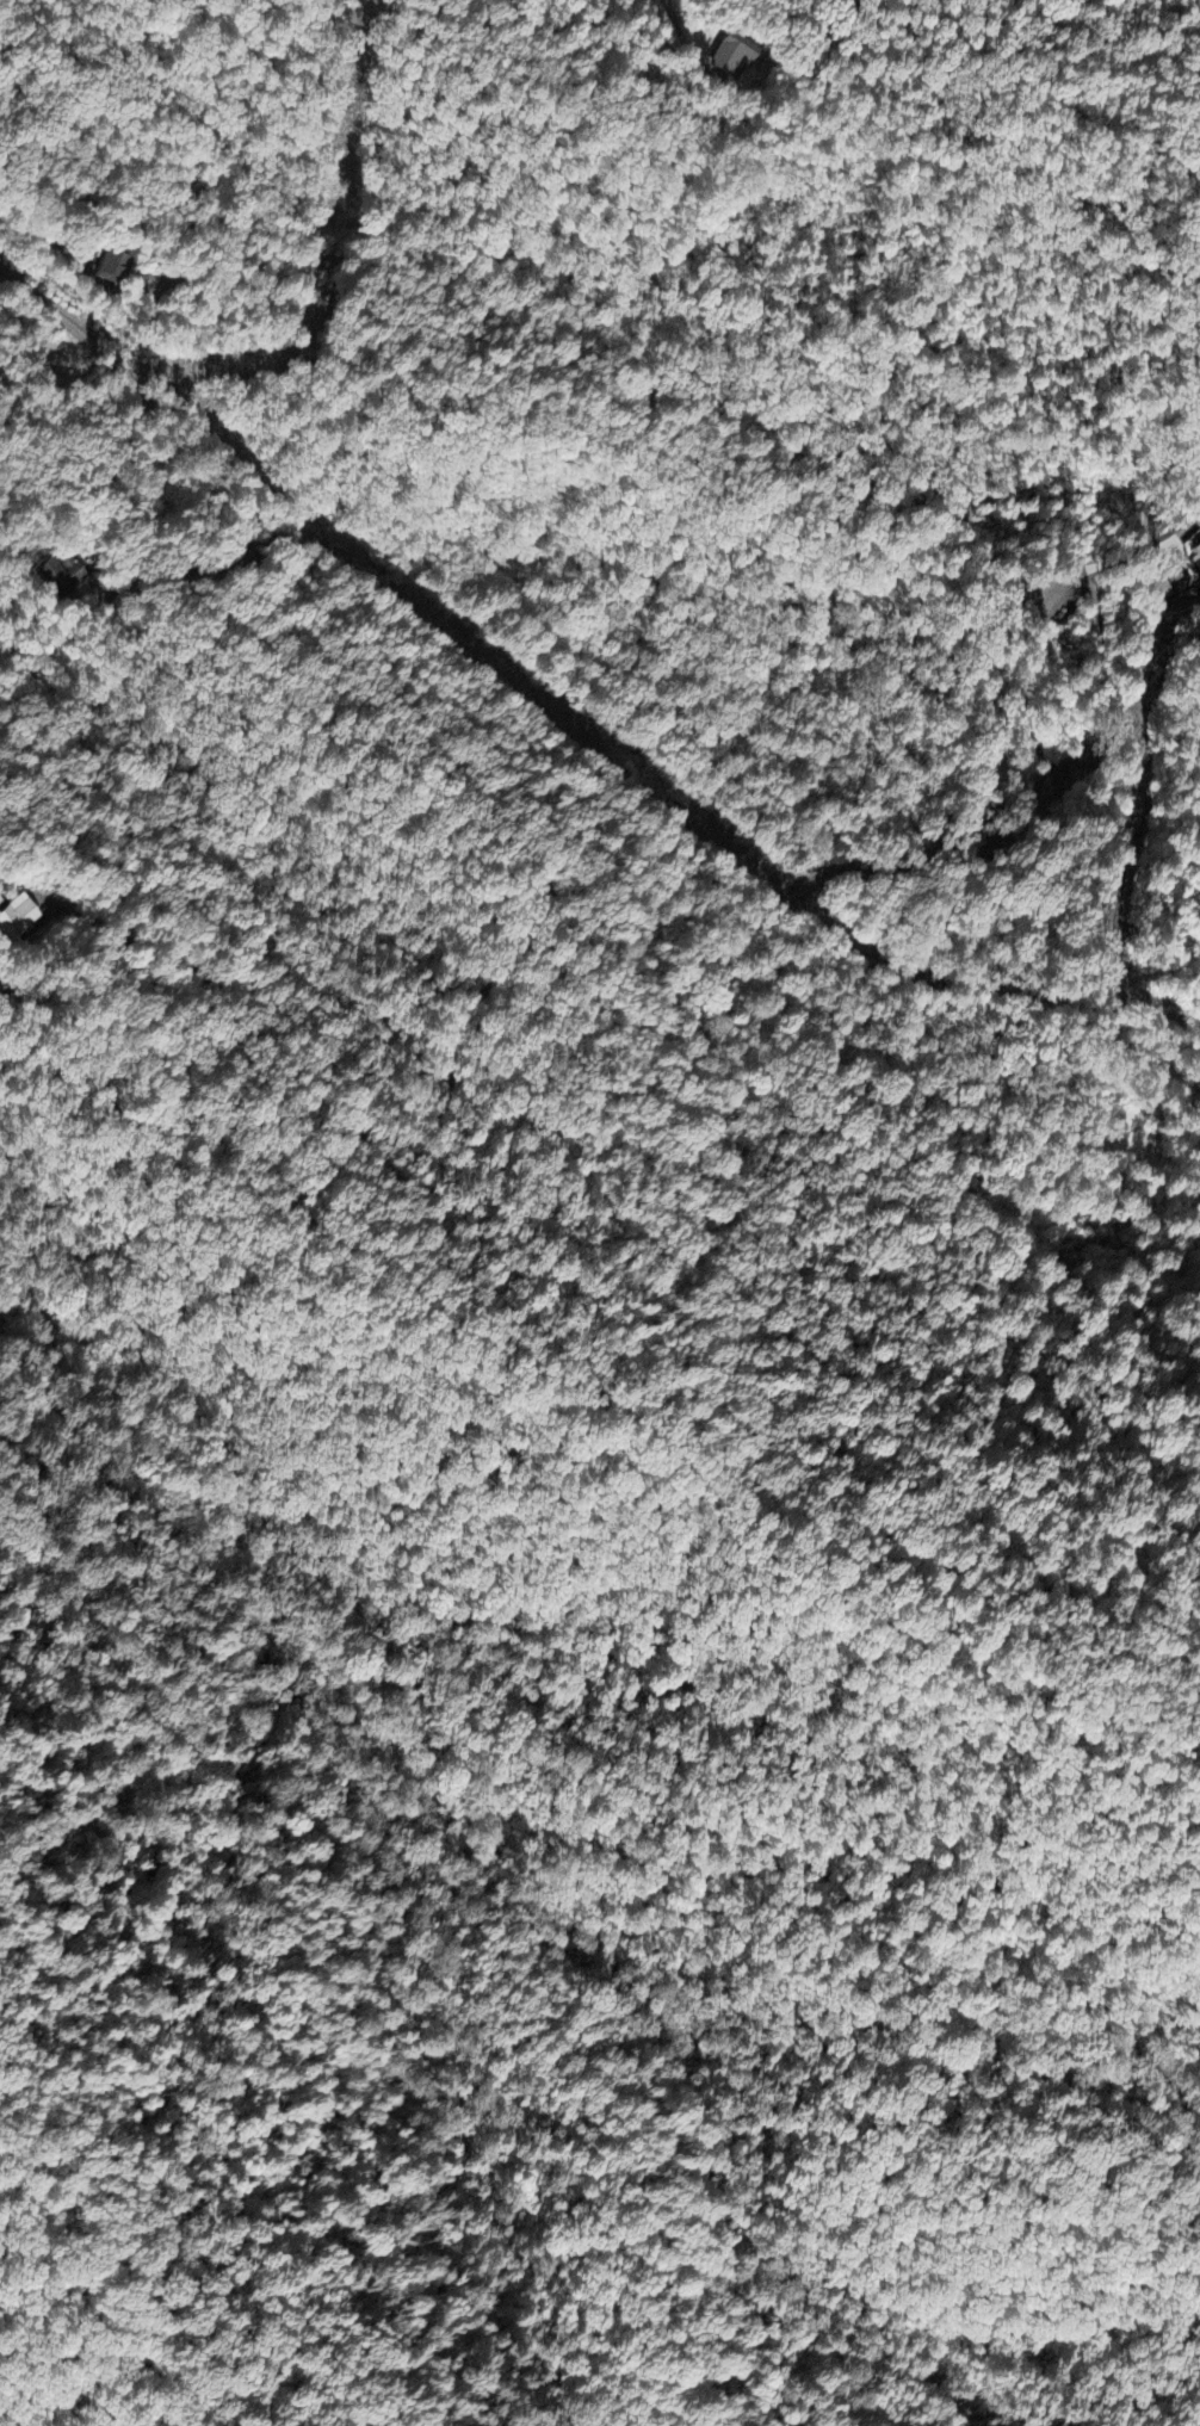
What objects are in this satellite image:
building: (728, 61)
building: (111, 271)
building: (1182, 555)
building: (56, 578)
building: (1158, 590)
building: (16, 920)
road: (397, 1205)

